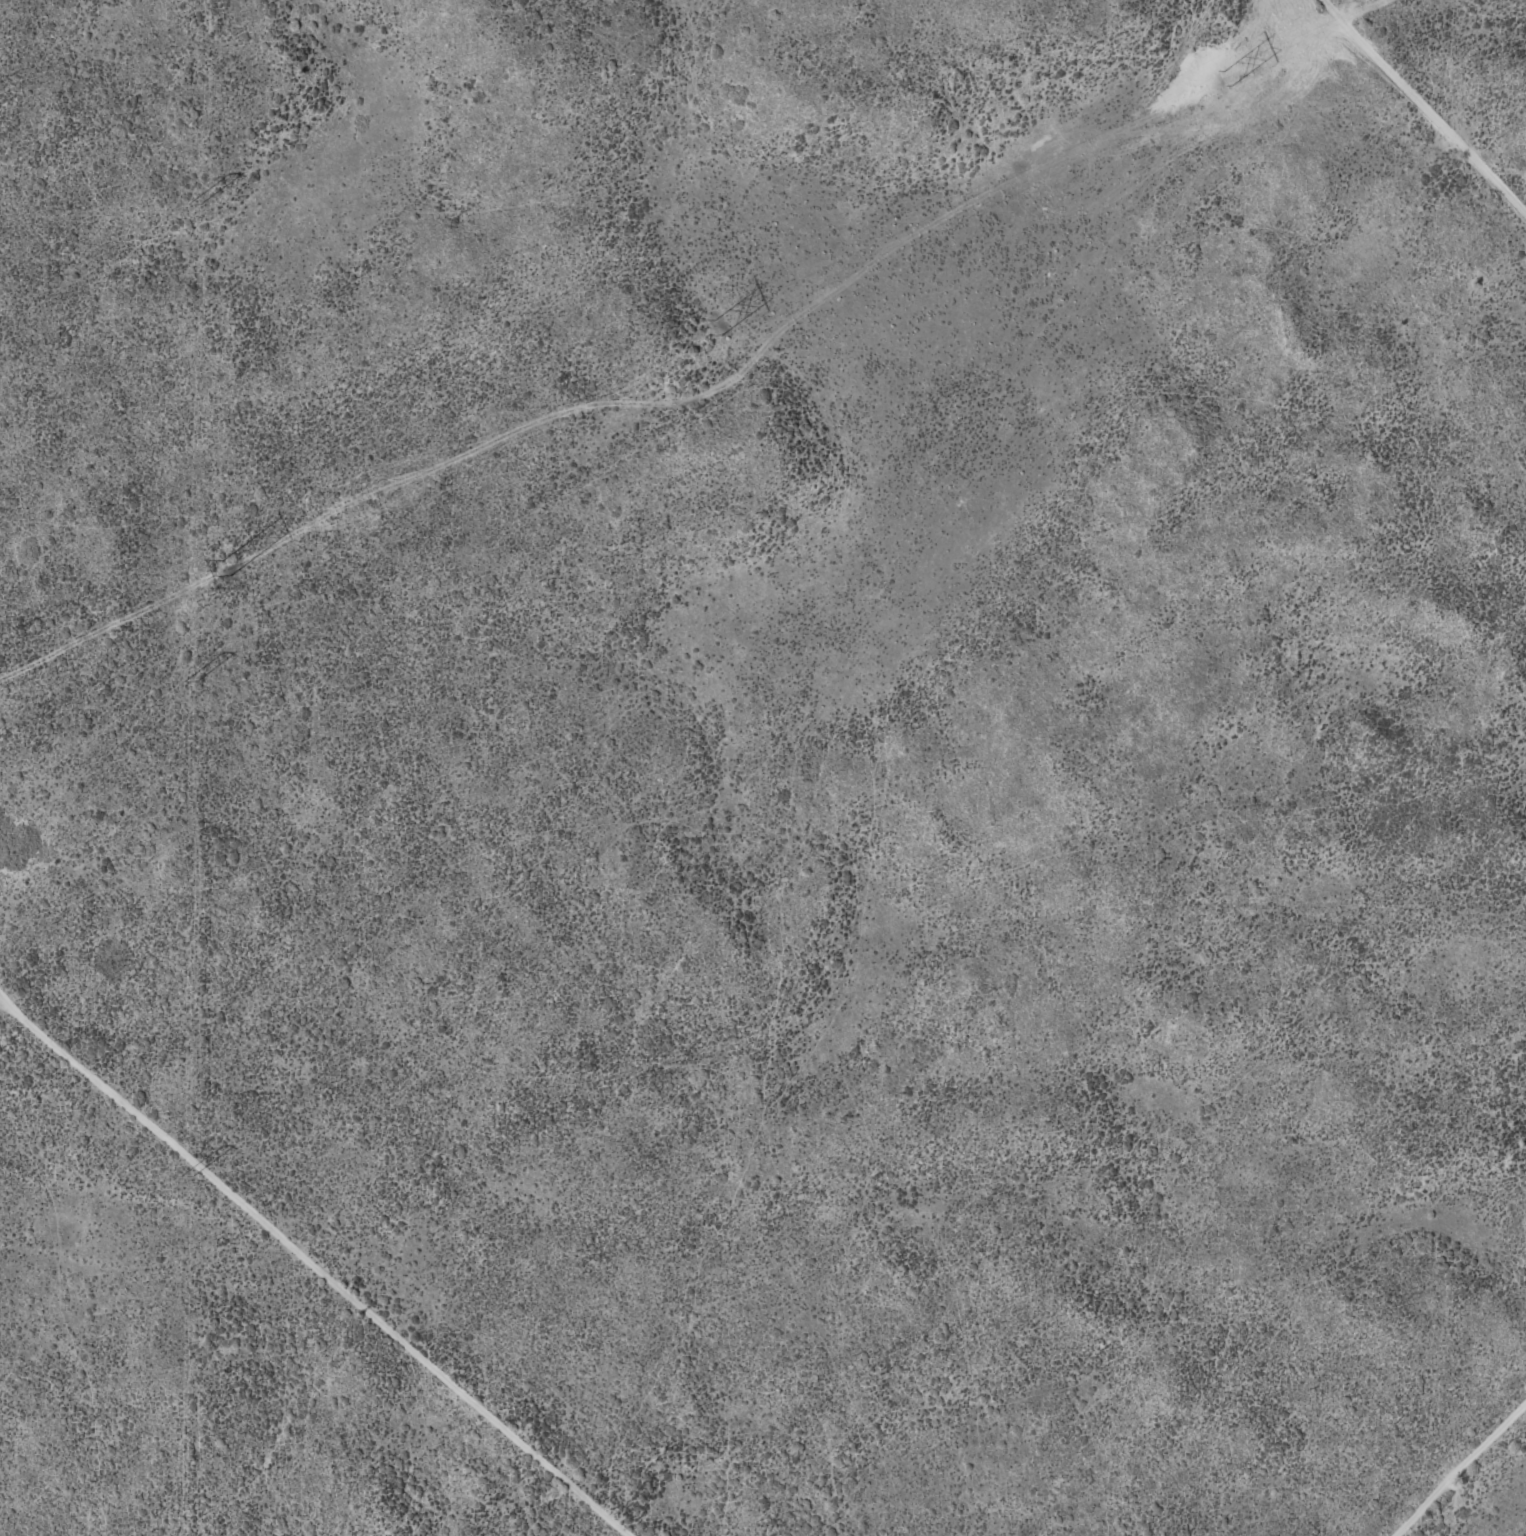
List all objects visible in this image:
power tower: (1218, 79)
power tower: (192, 203)
power tower: (717, 326)
power tower: (226, 564)
power tower: (190, 681)
power tower: (185, 1176)

